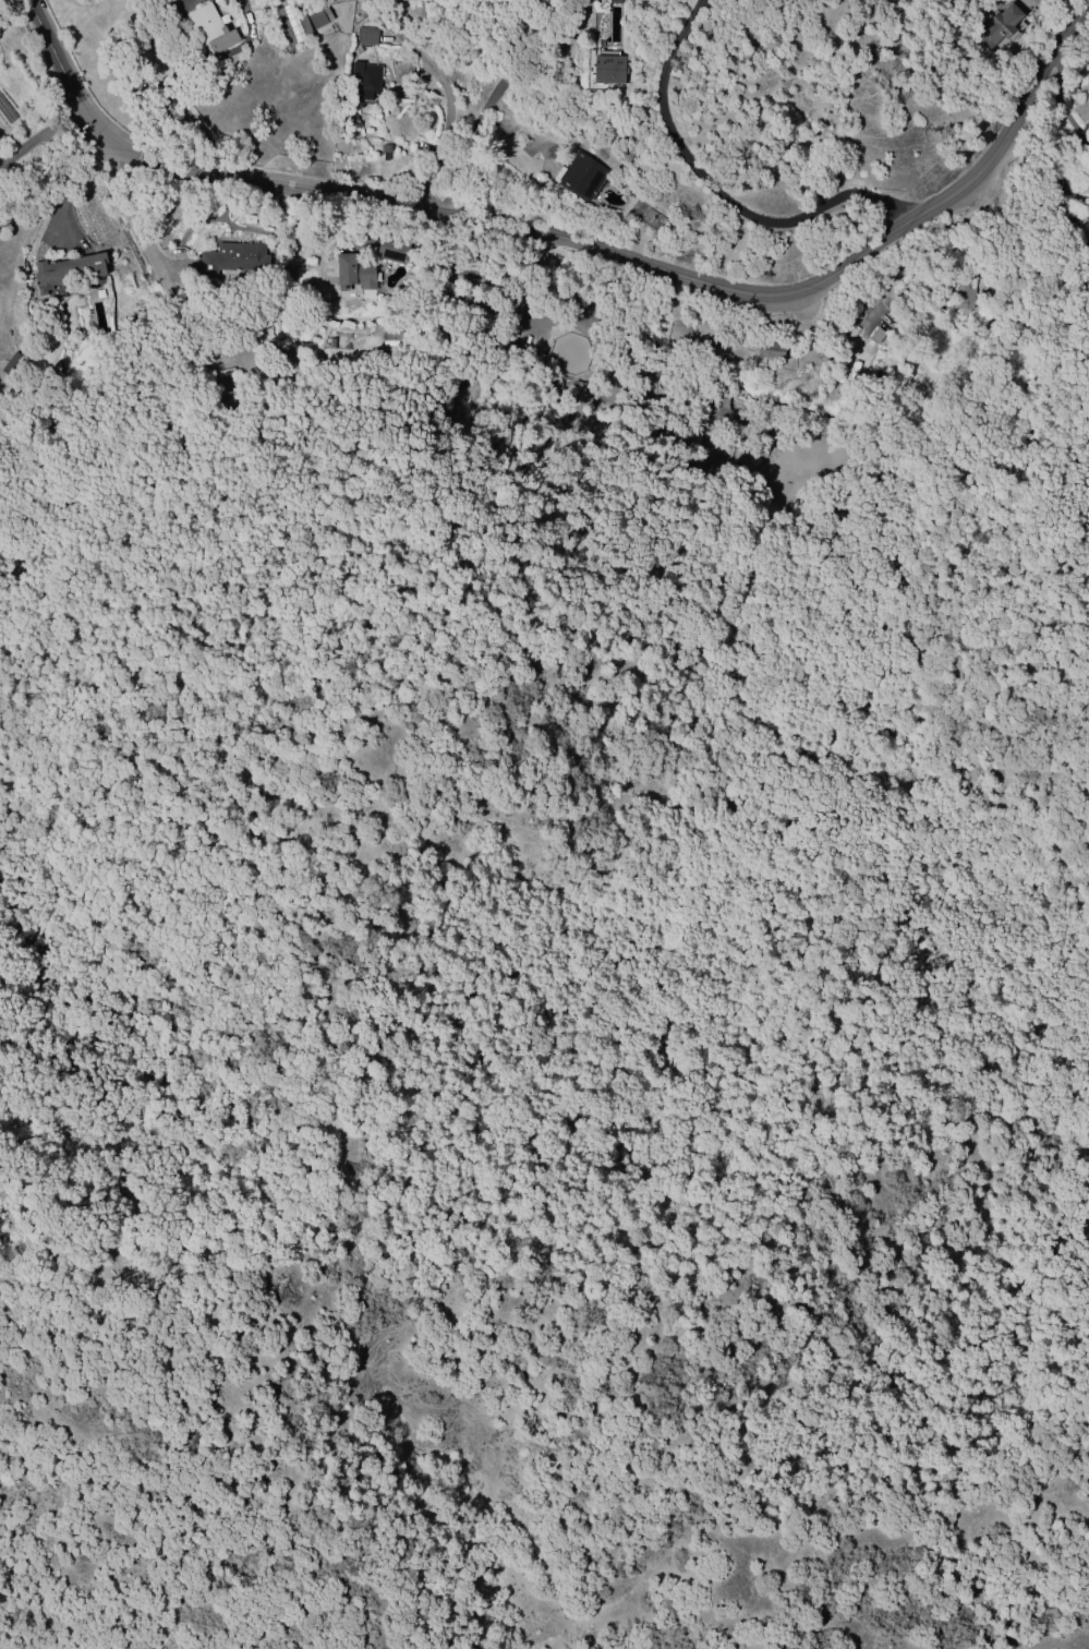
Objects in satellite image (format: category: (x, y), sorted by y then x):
building: (165, 1)
road: (189, 2)
building: (318, 17)
building: (293, 23)
building: (997, 25)
building: (210, 28)
building: (366, 36)
building: (1086, 56)
road: (181, 70)
building: (608, 70)
road: (62, 72)
building: (365, 80)
road: (499, 85)
road: (443, 87)
road: (38, 144)
building: (384, 152)
road: (43, 173)
building: (582, 177)
building: (1065, 186)
road: (713, 190)
road: (138, 214)
building: (391, 252)
building: (232, 260)
road: (655, 265)
building: (65, 270)
building: (354, 272)
building: (964, 292)
building: (851, 333)
building: (879, 337)
building: (392, 340)
building: (769, 351)
building: (10, 364)
building: (579, 388)
building: (712, 442)
road: (126, 459)
road: (714, 571)

